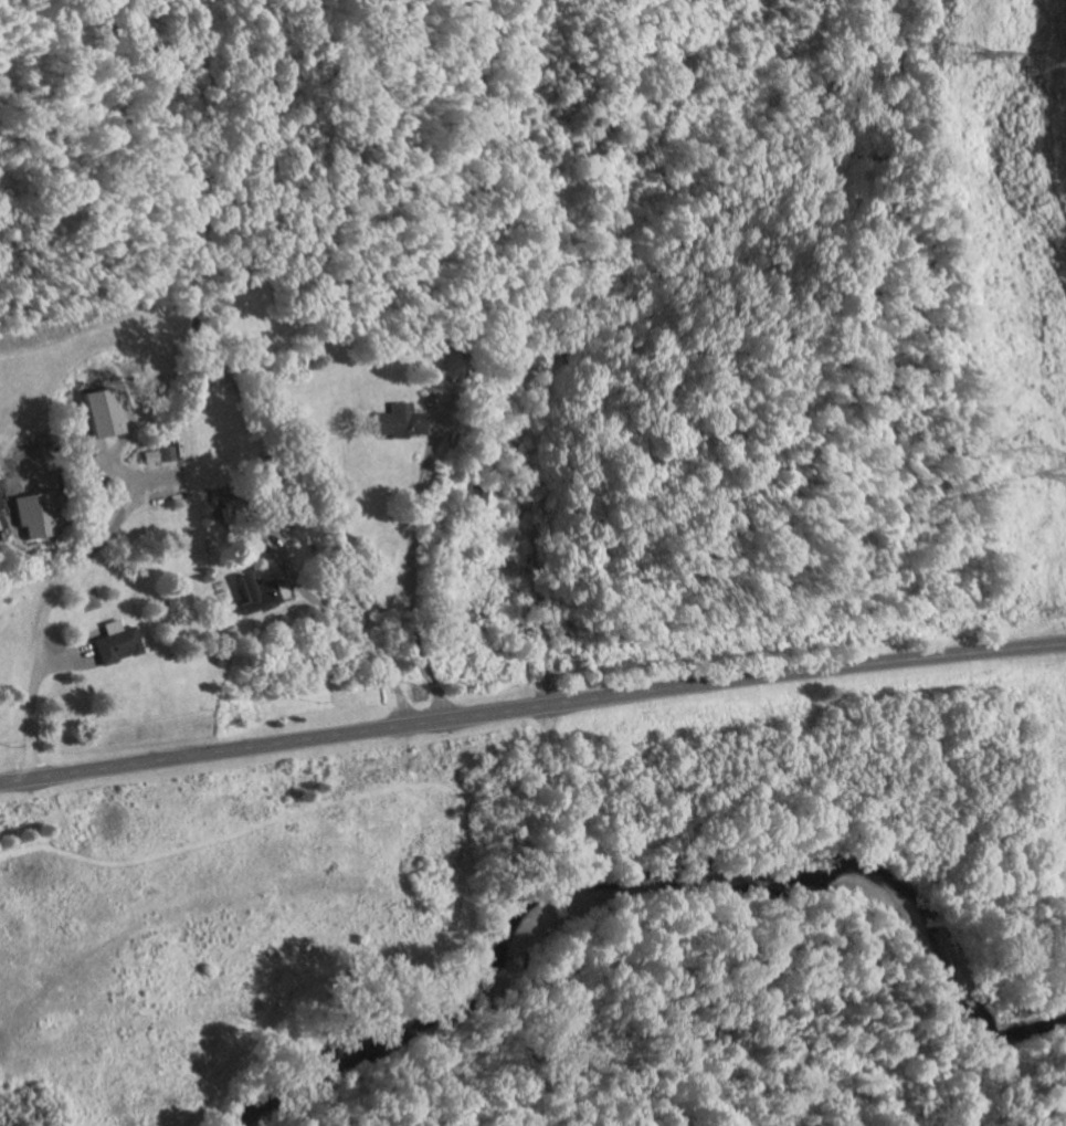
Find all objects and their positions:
power tower: (961, 54)
power tower: (1034, 62)
building: (95, 412)
building: (393, 421)
building: (162, 453)
building: (145, 456)
power tower: (1032, 463)
building: (29, 515)
road: (410, 550)
road: (536, 593)
building: (250, 596)
road: (49, 597)
road: (341, 622)
building: (113, 643)
road: (67, 656)
road: (531, 707)

